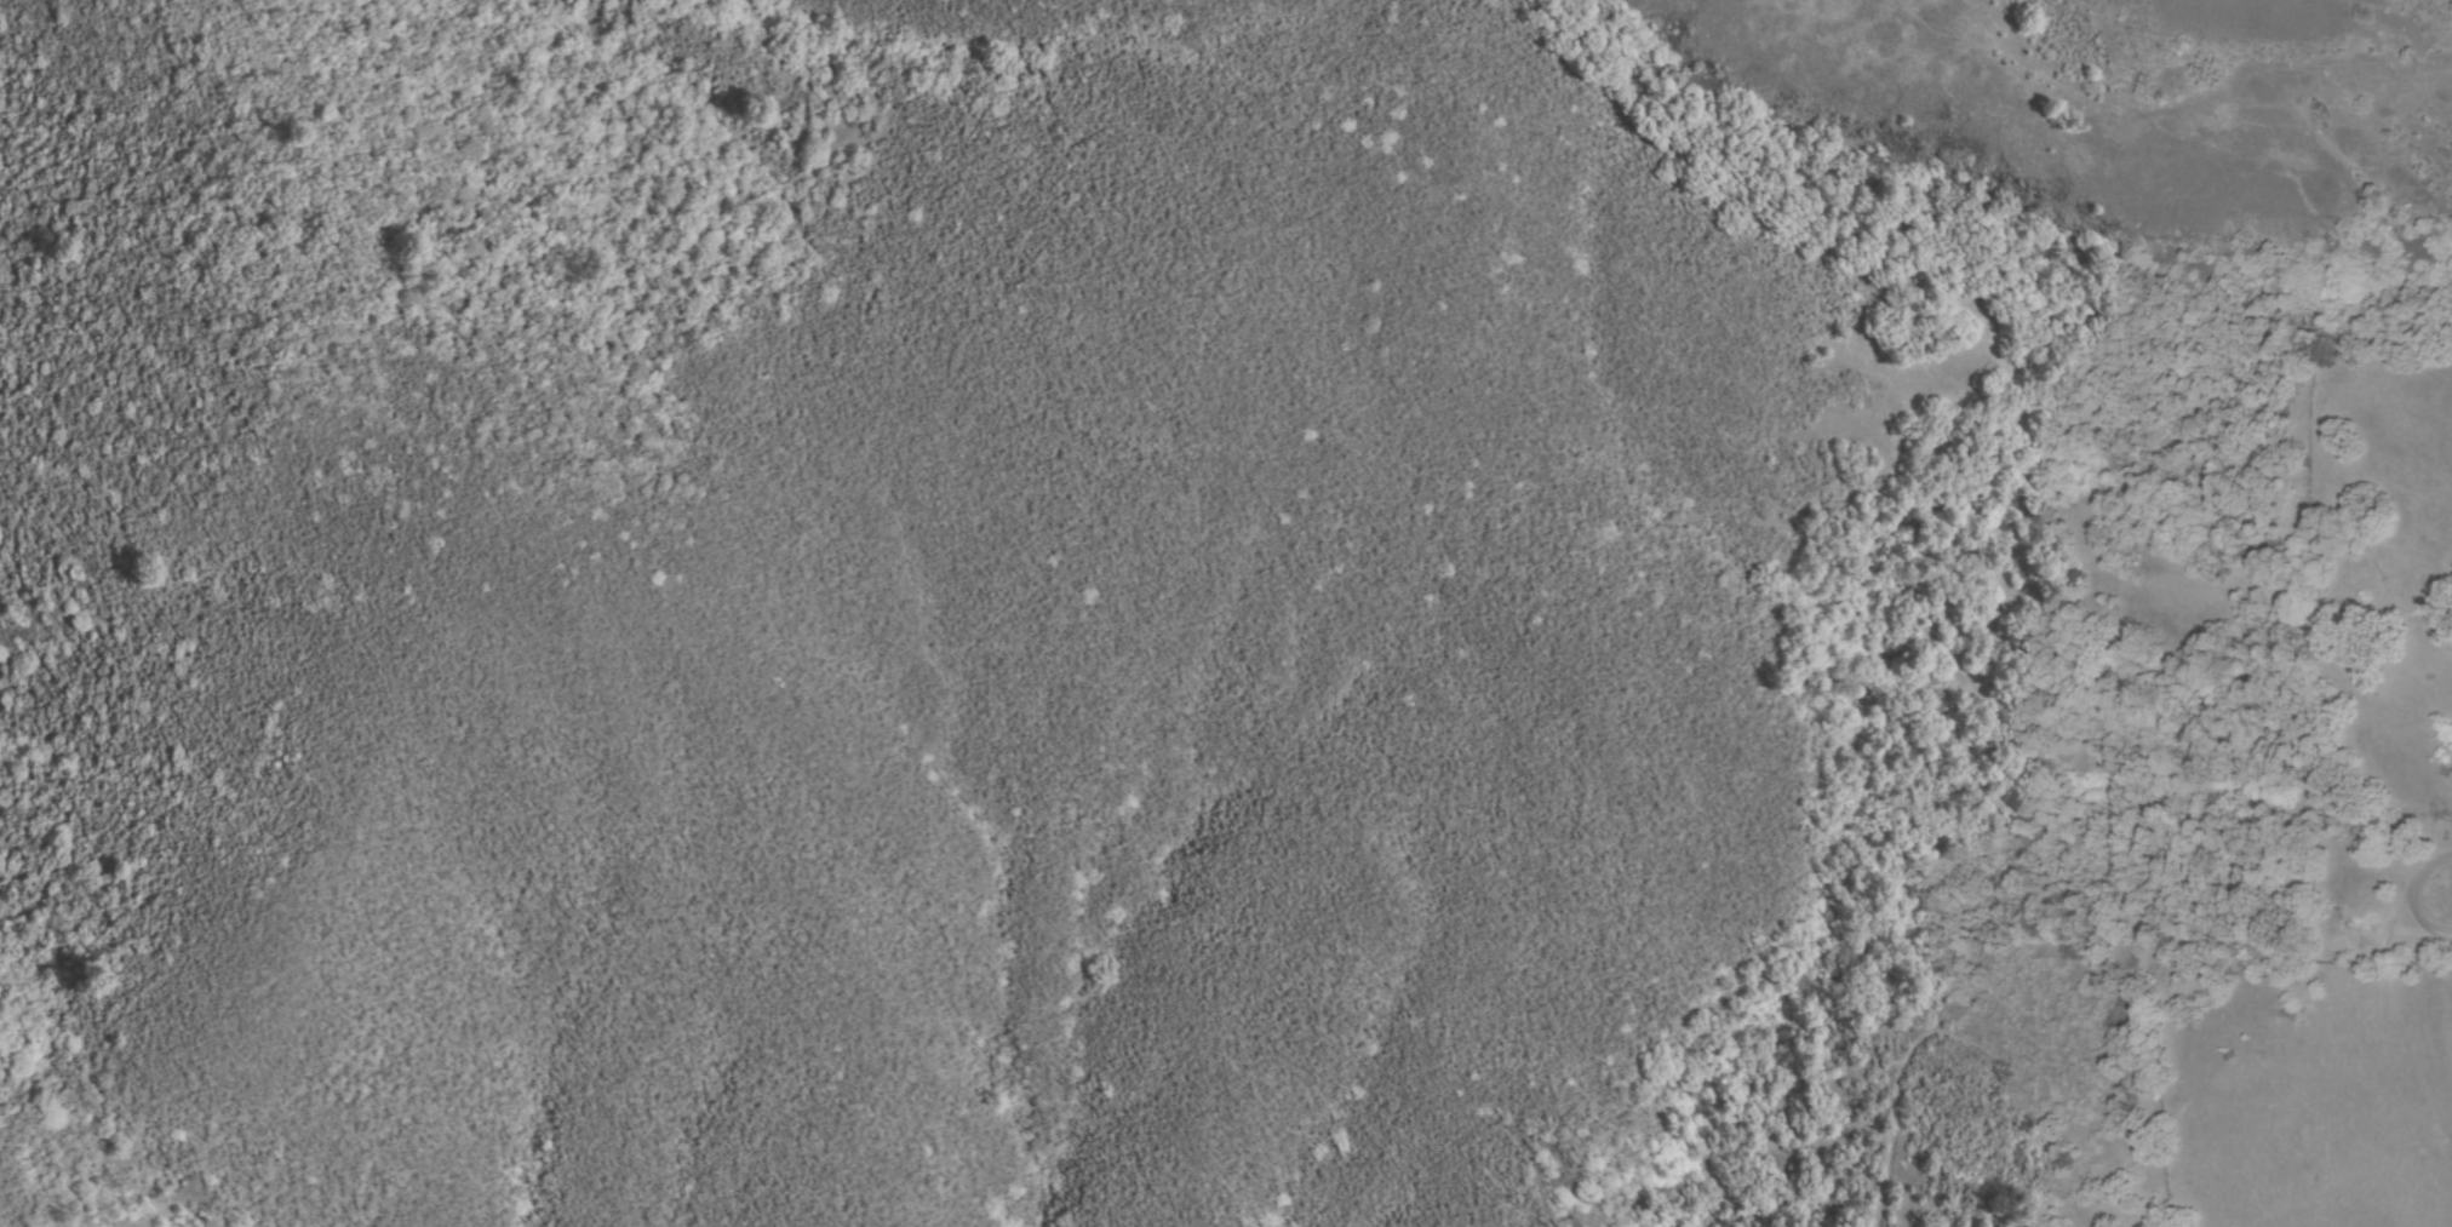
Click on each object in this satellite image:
road: (2421, 882)
road: (2145, 957)
road: (1965, 1040)

